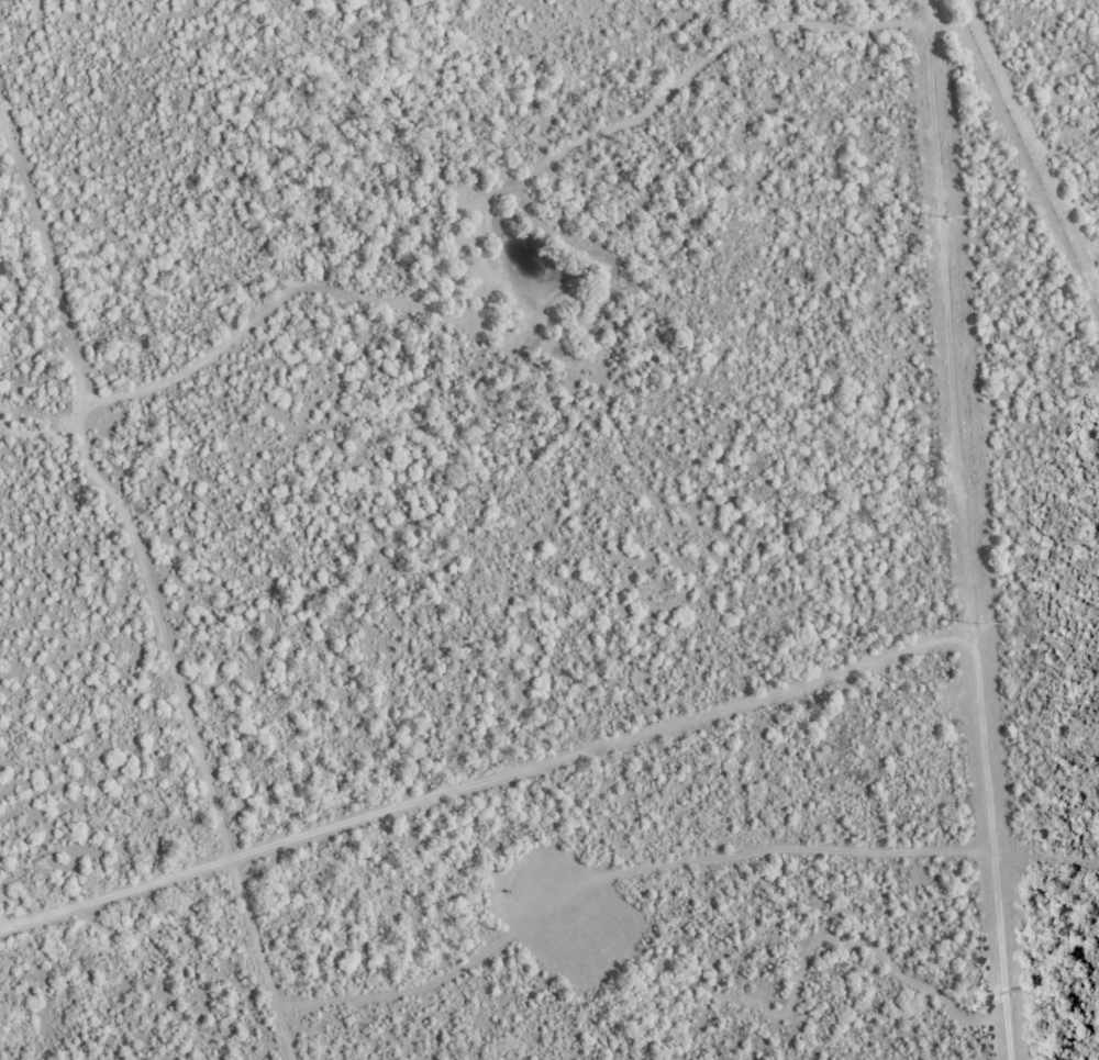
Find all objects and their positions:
power tower: (941, 220)
road: (1025, 525)
road: (141, 602)
power tower: (974, 624)
power tower: (1003, 994)

